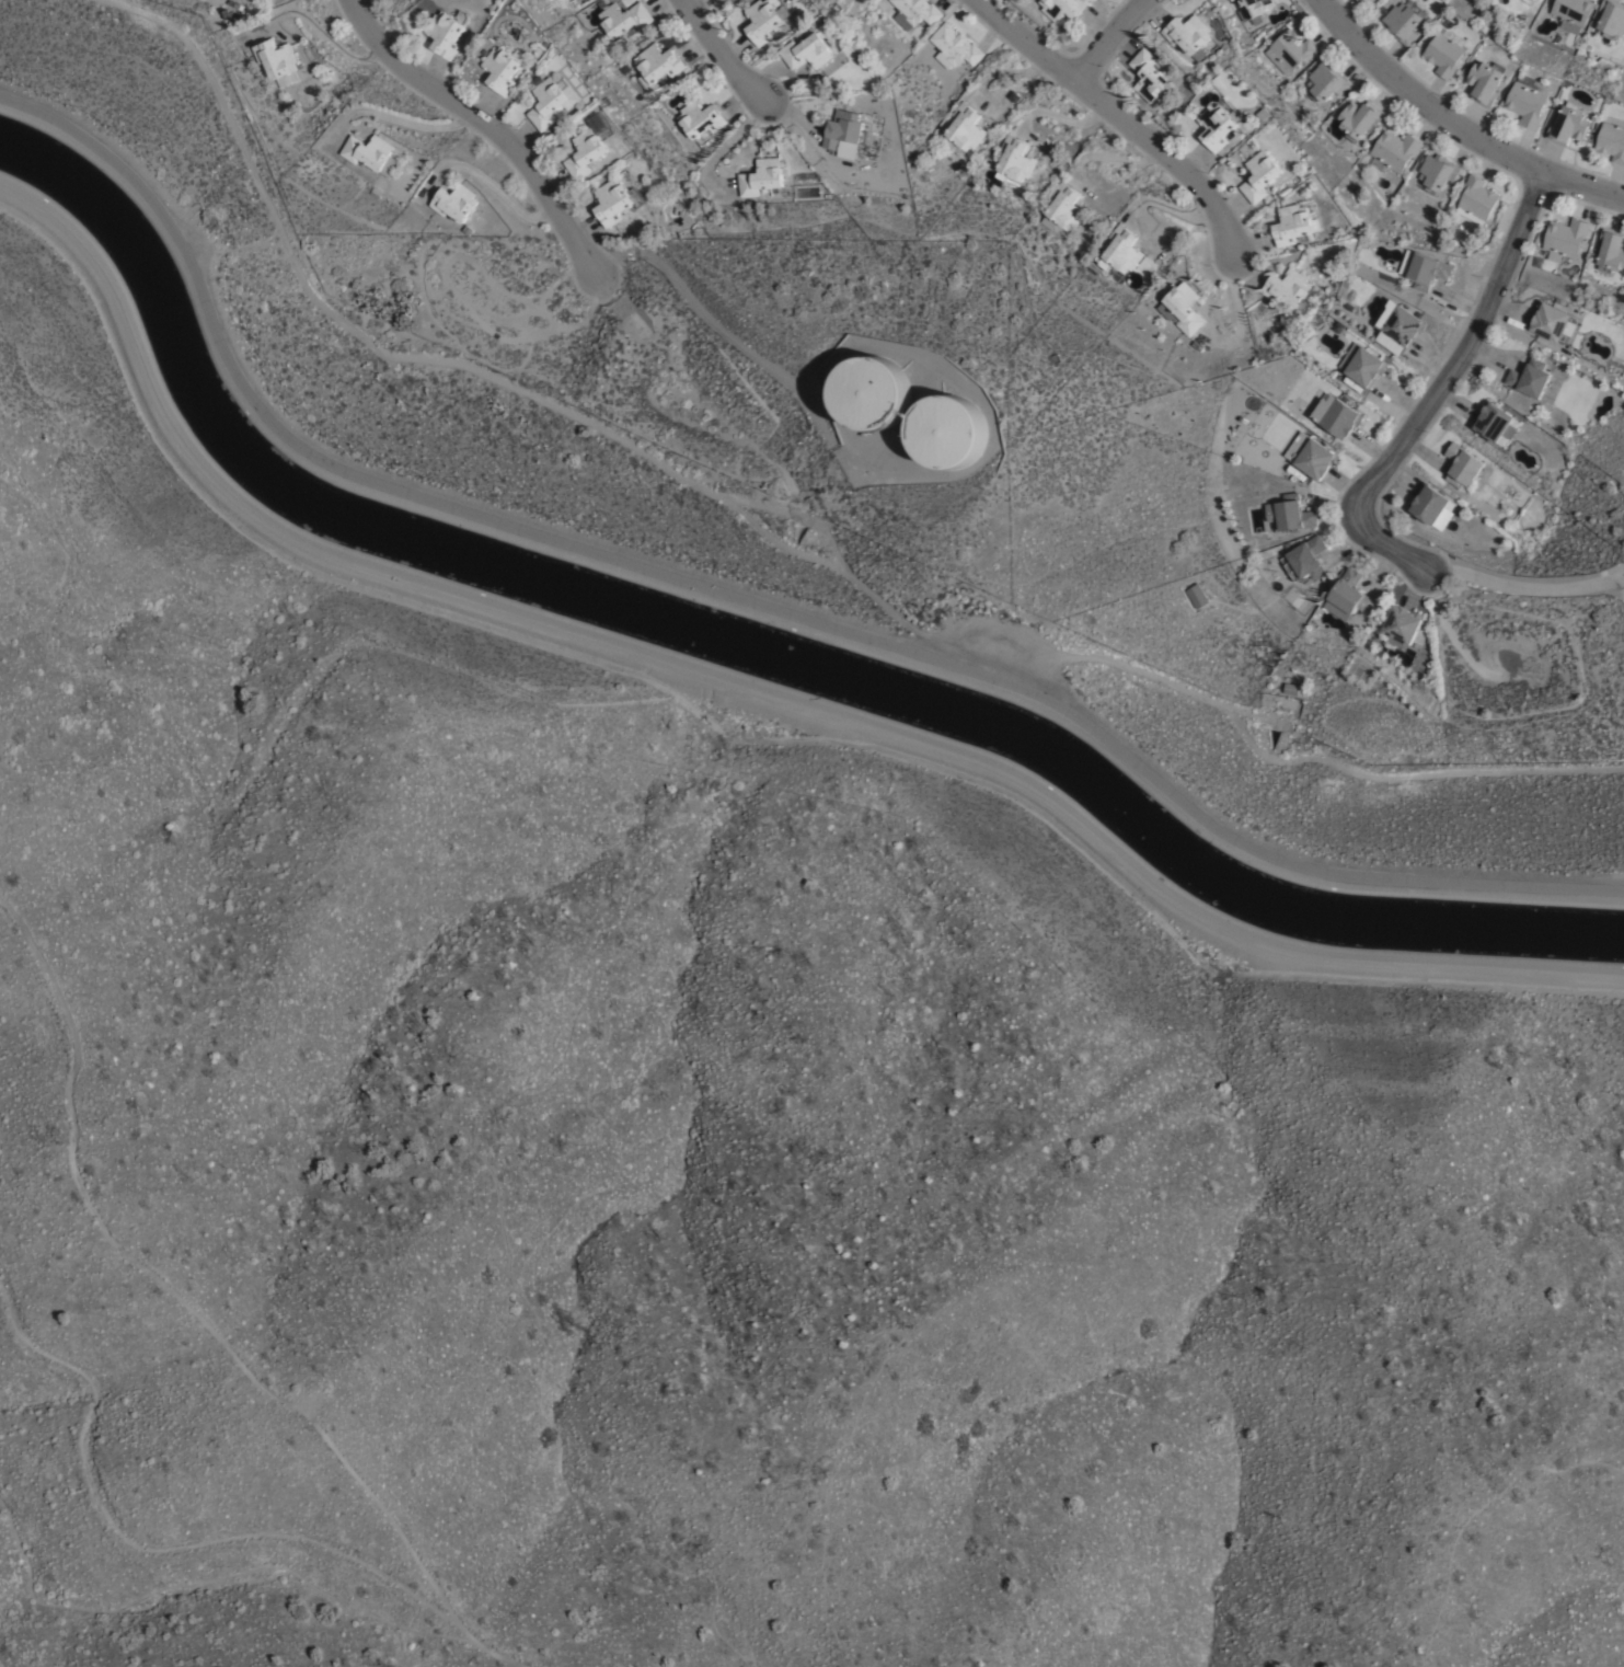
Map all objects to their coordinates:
building: (1230, 0)
building: (1527, 1)
building: (1367, 2)
building: (1256, 7)
building: (1062, 8)
building: (917, 12)
building: (1573, 13)
building: (1243, 15)
building: (1612, 16)
building: (623, 18)
building: (767, 19)
building: (1256, 20)
building: (1403, 23)
road: (316, 26)
building: (447, 33)
road: (1106, 35)
building: (1188, 35)
building: (954, 46)
building: (1290, 50)
building: (808, 51)
road: (718, 53)
building: (1444, 53)
building: (277, 61)
building: (656, 65)
building: (504, 66)
building: (1150, 74)
building: (1484, 82)
building: (1326, 83)
building: (552, 101)
building: (1527, 101)
building: (1266, 114)
road: (1121, 116)
road: (392, 118)
building: (1359, 118)
building: (699, 119)
road: (484, 124)
building: (1220, 125)
road: (1453, 125)
building: (1568, 125)
building: (845, 130)
building: (961, 131)
building: (1612, 142)
building: (589, 147)
building: (768, 151)
building: (1394, 151)
building: (371, 154)
building: (1015, 159)
building: (1438, 172)
building: (1263, 176)
building: (760, 177)
building: (1476, 198)
building: (615, 202)
building: (457, 203)
building: (1063, 208)
building: (1294, 226)
building: (468, 230)
building: (1565, 239)
building: (1611, 250)
building: (1120, 251)
building: (1424, 269)
building: (1288, 289)
building: (1183, 310)
building: (1389, 313)
building: (1553, 323)
building: (1404, 326)
building: (1391, 344)
building: (1362, 366)
building: (1531, 380)
road: (1438, 389)
building: (874, 392)
building: (1340, 421)
building: (1495, 425)
building: (949, 430)
building: (1311, 458)
building: (1463, 468)
building: (1433, 508)
building: (1289, 517)
building: (1305, 561)
road: (1615, 578)
road: (1518, 583)
building: (1197, 597)
building: (1347, 598)
road: (744, 600)
building: (1404, 624)
road: (741, 690)
building: (1291, 691)
road: (211, 1318)

